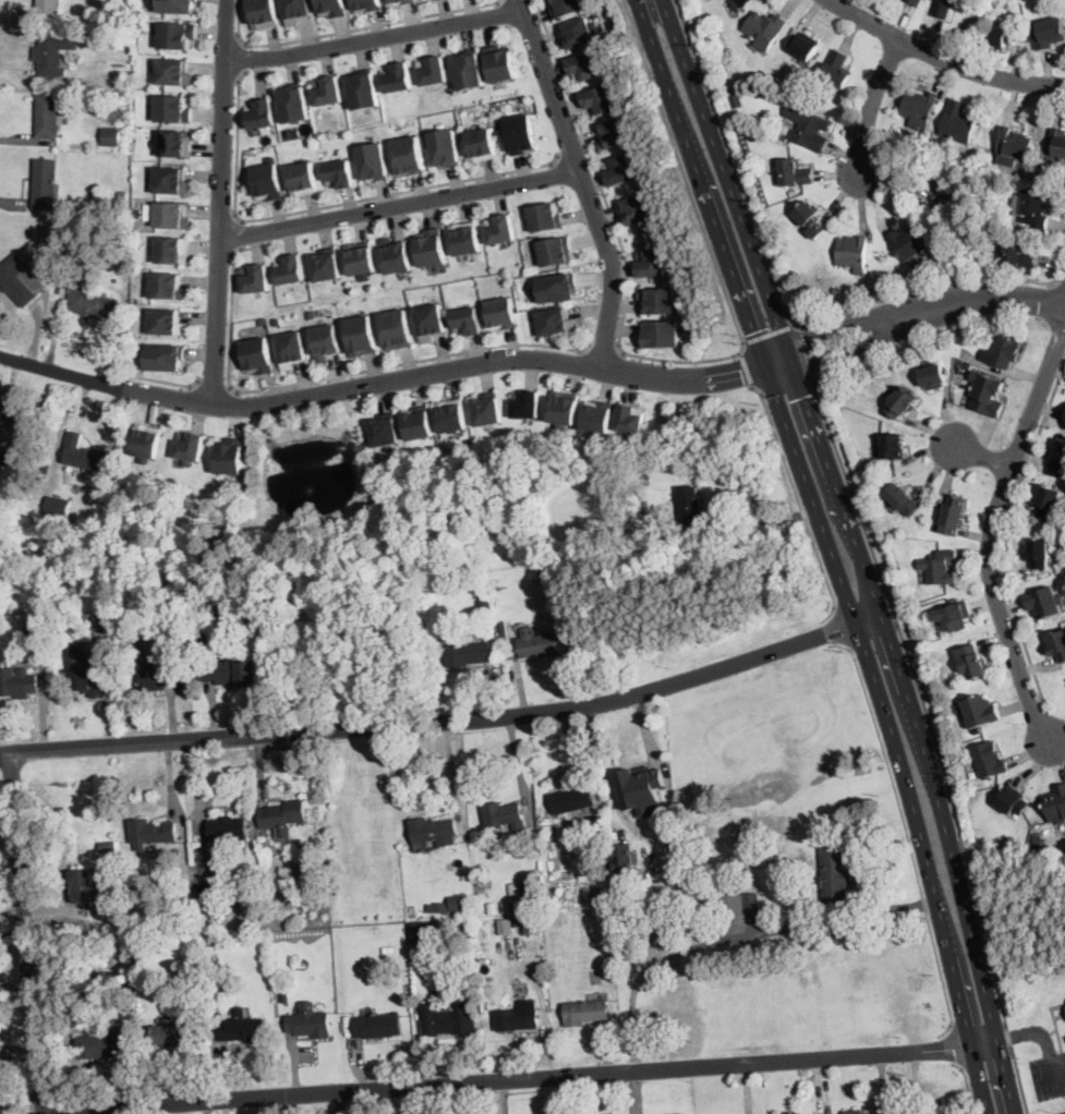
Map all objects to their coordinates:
building: (400, 2)
building: (746, 2)
building: (915, 2)
building: (176, 5)
building: (366, 5)
building: (48, 7)
building: (564, 7)
building: (946, 7)
building: (331, 8)
building: (294, 11)
building: (262, 14)
building: (764, 28)
road: (350, 29)
building: (1049, 33)
building: (576, 34)
building: (177, 35)
building: (1000, 36)
road: (374, 39)
building: (804, 45)
building: (50, 55)
road: (243, 58)
road: (941, 59)
building: (499, 63)
building: (582, 65)
building: (468, 70)
building: (837, 70)
building: (173, 72)
building: (432, 72)
building: (112, 74)
building: (398, 78)
building: (362, 89)
building: (327, 92)
building: (598, 99)
building: (737, 100)
building: (292, 104)
road: (871, 104)
building: (919, 106)
building: (172, 110)
building: (261, 114)
building: (47, 116)
building: (958, 122)
building: (808, 126)
building: (125, 133)
building: (520, 134)
building: (610, 134)
building: (111, 136)
building: (1056, 142)
building: (1014, 143)
building: (173, 144)
building: (481, 145)
building: (445, 148)
road: (570, 149)
building: (409, 156)
building: (373, 162)
building: (618, 170)
building: (795, 172)
building: (338, 174)
building: (303, 179)
road: (727, 179)
building: (266, 180)
building: (170, 181)
road: (582, 182)
building: (44, 183)
building: (945, 187)
building: (123, 193)
road: (221, 203)
road: (399, 205)
building: (137, 207)
road: (324, 207)
building: (634, 208)
building: (1036, 209)
building: (148, 210)
building: (170, 215)
building: (545, 217)
building: (810, 219)
building: (499, 229)
road: (240, 234)
building: (465, 239)
building: (908, 241)
building: (432, 249)
building: (171, 250)
building: (555, 251)
building: (852, 252)
building: (1018, 254)
building: (397, 256)
building: (361, 259)
building: (948, 261)
building: (650, 262)
building: (326, 265)
building: (291, 270)
building: (254, 279)
building: (20, 280)
road: (1060, 283)
building: (166, 287)
building: (555, 288)
building: (837, 291)
road: (779, 292)
building: (130, 296)
building: (656, 300)
road: (980, 301)
building: (90, 304)
building: (312, 314)
building: (501, 314)
building: (262, 319)
building: (166, 322)
building: (278, 322)
building: (429, 322)
building: (467, 322)
building: (555, 323)
road: (837, 327)
building: (396, 329)
traffic signals: (754, 330)
road: (767, 332)
building: (253, 334)
building: (658, 334)
building: (361, 336)
traffic signals: (803, 339)
building: (326, 342)
road: (604, 347)
building: (146, 349)
building: (1006, 349)
building: (291, 350)
road: (801, 350)
road: (847, 351)
building: (257, 355)
building: (165, 356)
building: (186, 356)
road: (685, 362)
road: (778, 362)
road: (745, 368)
traffic signals: (741, 371)
road: (339, 375)
building: (933, 376)
road: (167, 383)
road: (380, 384)
road: (214, 386)
road: (785, 387)
building: (987, 395)
traffic signals: (804, 396)
building: (901, 403)
building: (527, 405)
building: (565, 409)
building: (487, 410)
building: (452, 416)
building: (598, 417)
building: (631, 419)
building: (1064, 420)
building: (419, 424)
building: (384, 429)
building: (17, 432)
building: (147, 443)
building: (893, 443)
building: (190, 448)
building: (83, 455)
building: (229, 456)
road: (982, 456)
building: (1057, 459)
building: (45, 468)
building: (28, 482)
building: (904, 500)
building: (1048, 501)
road: (798, 504)
building: (689, 505)
building: (57, 512)
building: (954, 514)
road: (760, 521)
road: (1006, 529)
road: (990, 535)
road: (831, 552)
building: (1038, 554)
building: (939, 566)
building: (550, 592)
building: (553, 600)
building: (1044, 602)
building: (485, 610)
building: (20, 615)
building: (954, 616)
building: (109, 619)
road: (839, 626)
building: (34, 627)
building: (537, 643)
building: (1057, 645)
building: (27, 650)
building: (468, 654)
building: (972, 662)
building: (229, 671)
building: (87, 675)
building: (157, 676)
building: (16, 681)
building: (979, 711)
road: (434, 725)
road: (932, 729)
road: (644, 731)
road: (918, 731)
building: (989, 760)
building: (642, 785)
building: (977, 785)
building: (571, 799)
building: (1014, 800)
building: (1056, 804)
building: (503, 815)
building: (282, 816)
road: (903, 823)
building: (228, 828)
building: (434, 831)
building: (152, 833)
building: (316, 841)
building: (1037, 843)
building: (107, 846)
building: (622, 857)
building: (591, 874)
building: (834, 877)
building: (605, 886)
building: (85, 887)
building: (528, 888)
building: (515, 889)
building: (597, 889)
building: (626, 893)
building: (208, 901)
building: (529, 901)
building: (448, 905)
building: (184, 907)
building: (506, 907)
building: (739, 908)
building: (492, 909)
building: (631, 913)
building: (116, 916)
building: (668, 927)
building: (512, 928)
building: (528, 928)
building: (422, 932)
building: (604, 932)
road: (28, 933)
road: (738, 937)
building: (655, 942)
building: (644, 946)
building: (636, 952)
building: (209, 957)
building: (138, 960)
building: (608, 967)
building: (445, 980)
building: (145, 986)
building: (286, 995)
building: (133, 1006)
building: (584, 1012)
road: (1060, 1016)
building: (449, 1019)
building: (516, 1019)
building: (310, 1021)
building: (377, 1026)
road: (1056, 1028)
building: (242, 1029)
road: (1051, 1033)
building: (177, 1034)
road: (1042, 1037)
road: (953, 1043)
building: (102, 1044)
building: (664, 1055)
parking lot: (1049, 1076)
road: (1049, 1077)
road: (521, 1078)
road: (968, 1087)
building: (852, 1112)
building: (677, 1113)
building: (796, 1113)
building: (880, 1113)

